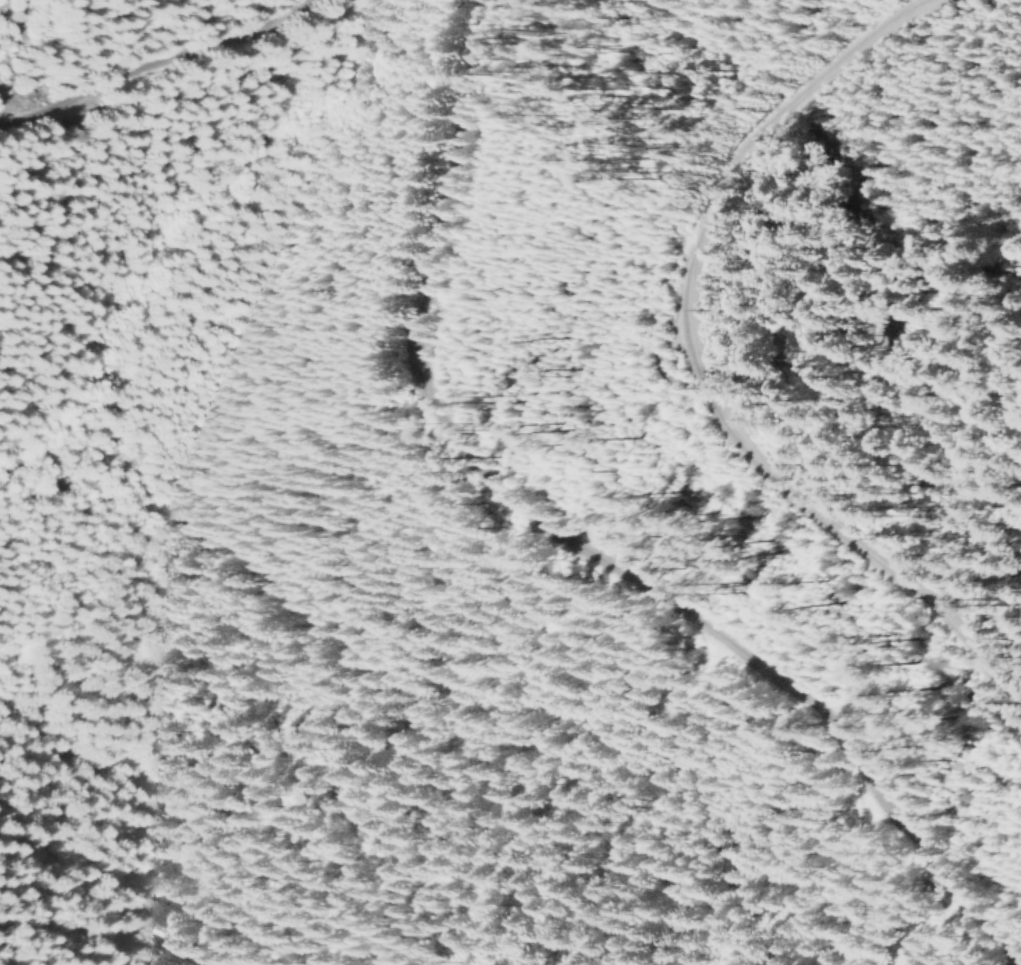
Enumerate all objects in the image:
road: (145, 71)
road: (702, 376)
road: (574, 546)

